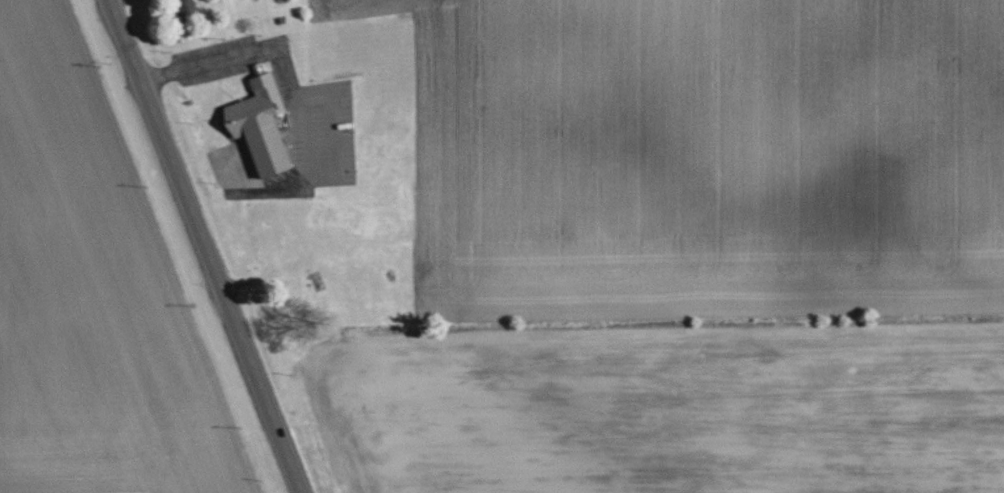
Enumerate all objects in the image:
building: (188, 6)
road: (152, 118)
building: (261, 124)
road: (251, 364)

